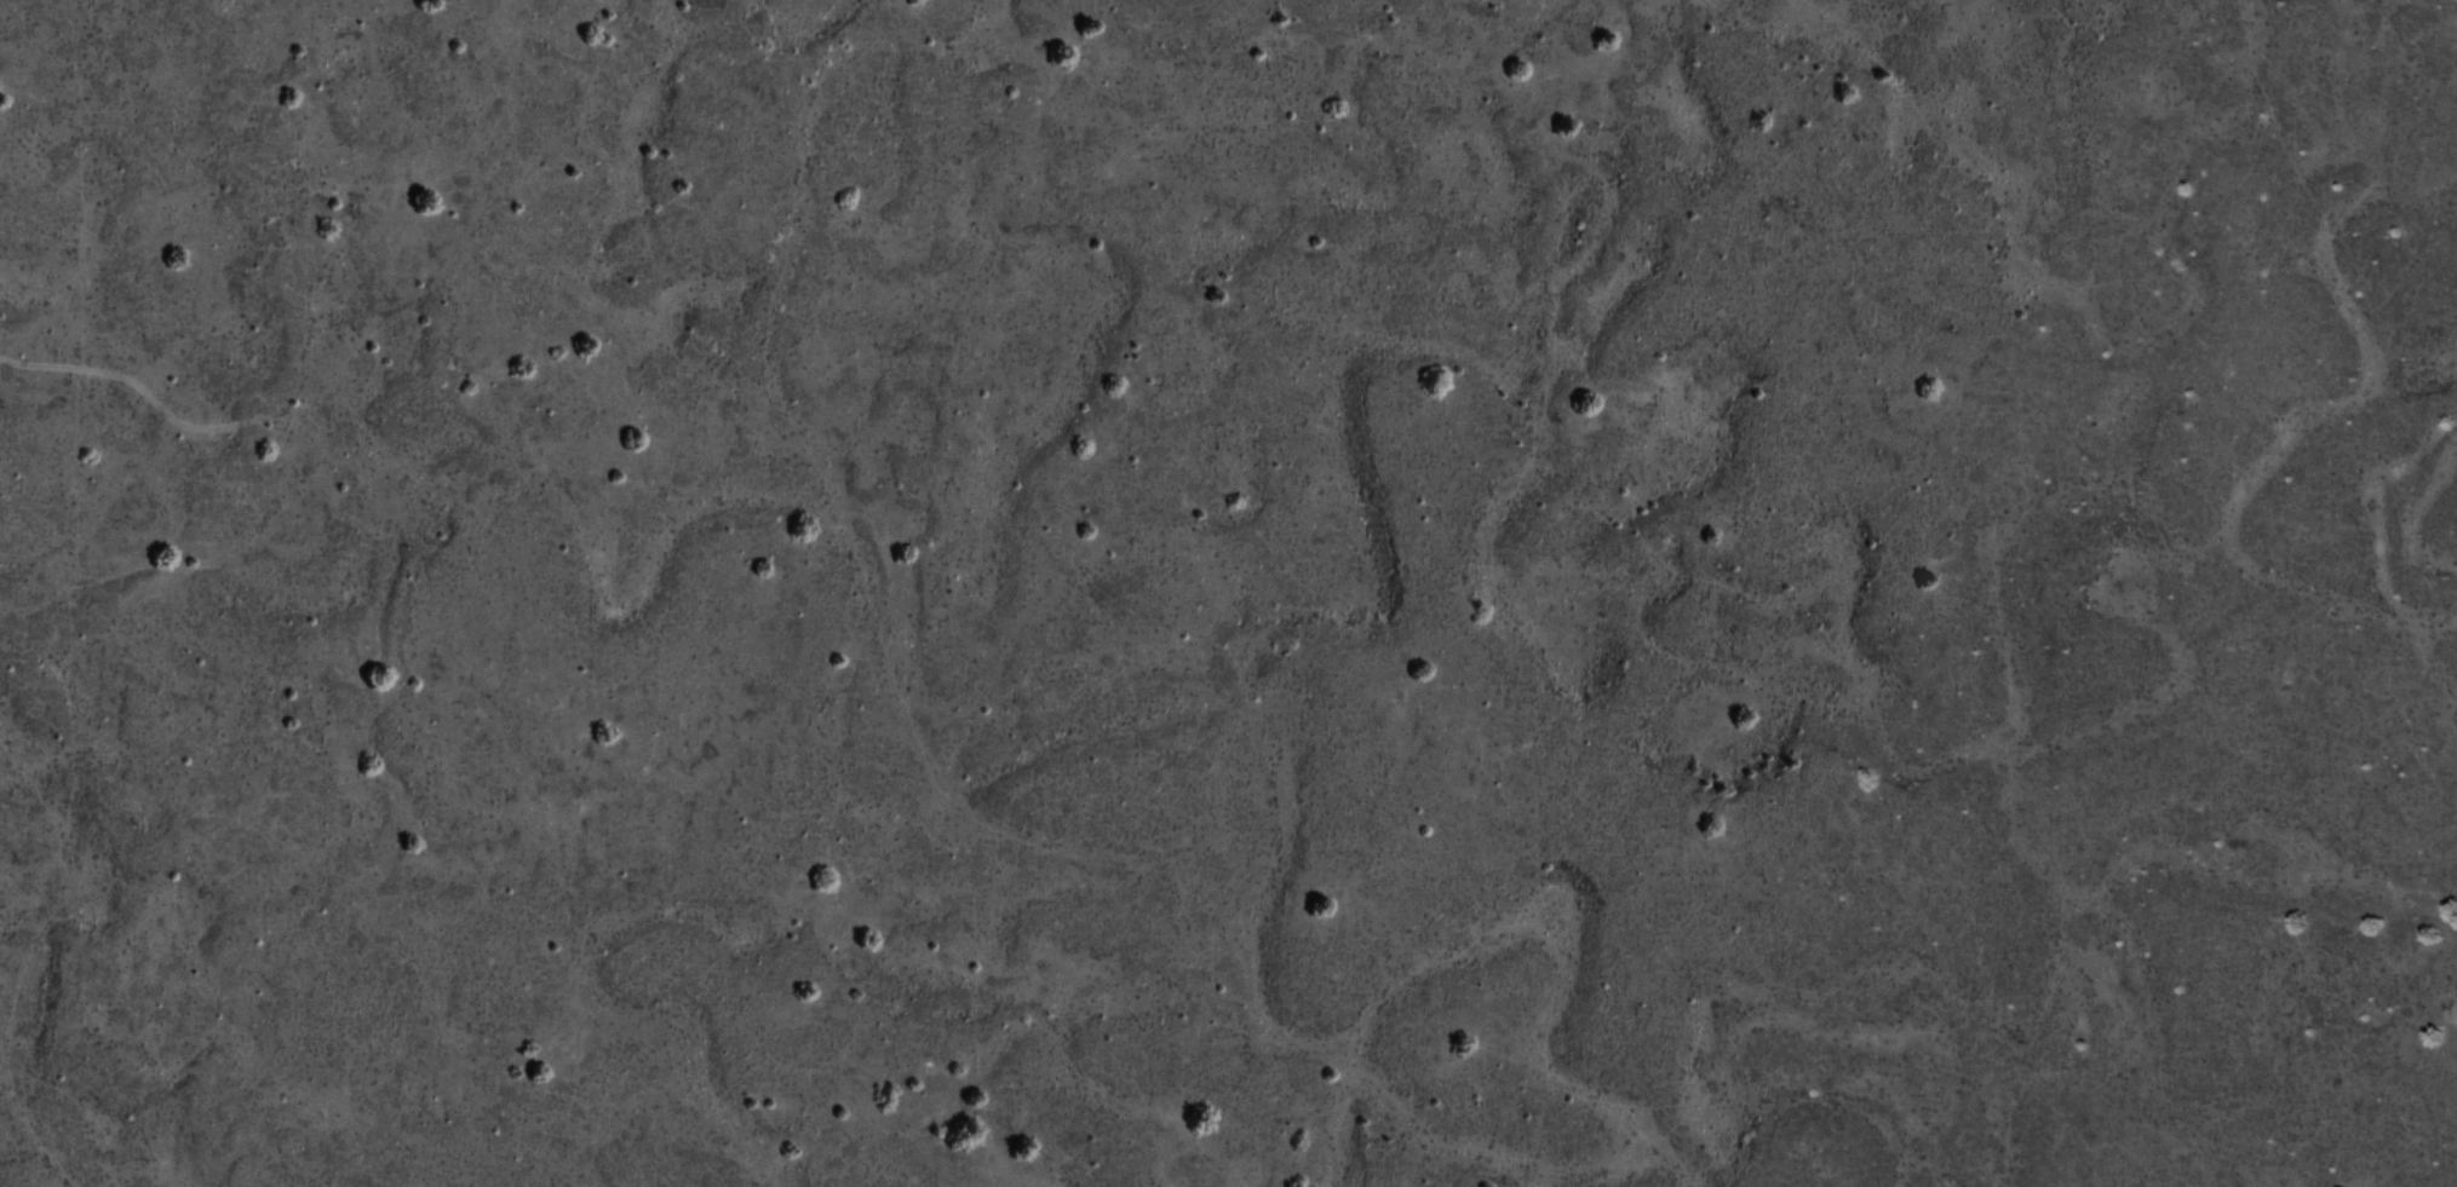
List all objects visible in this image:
road: (36, 955)

